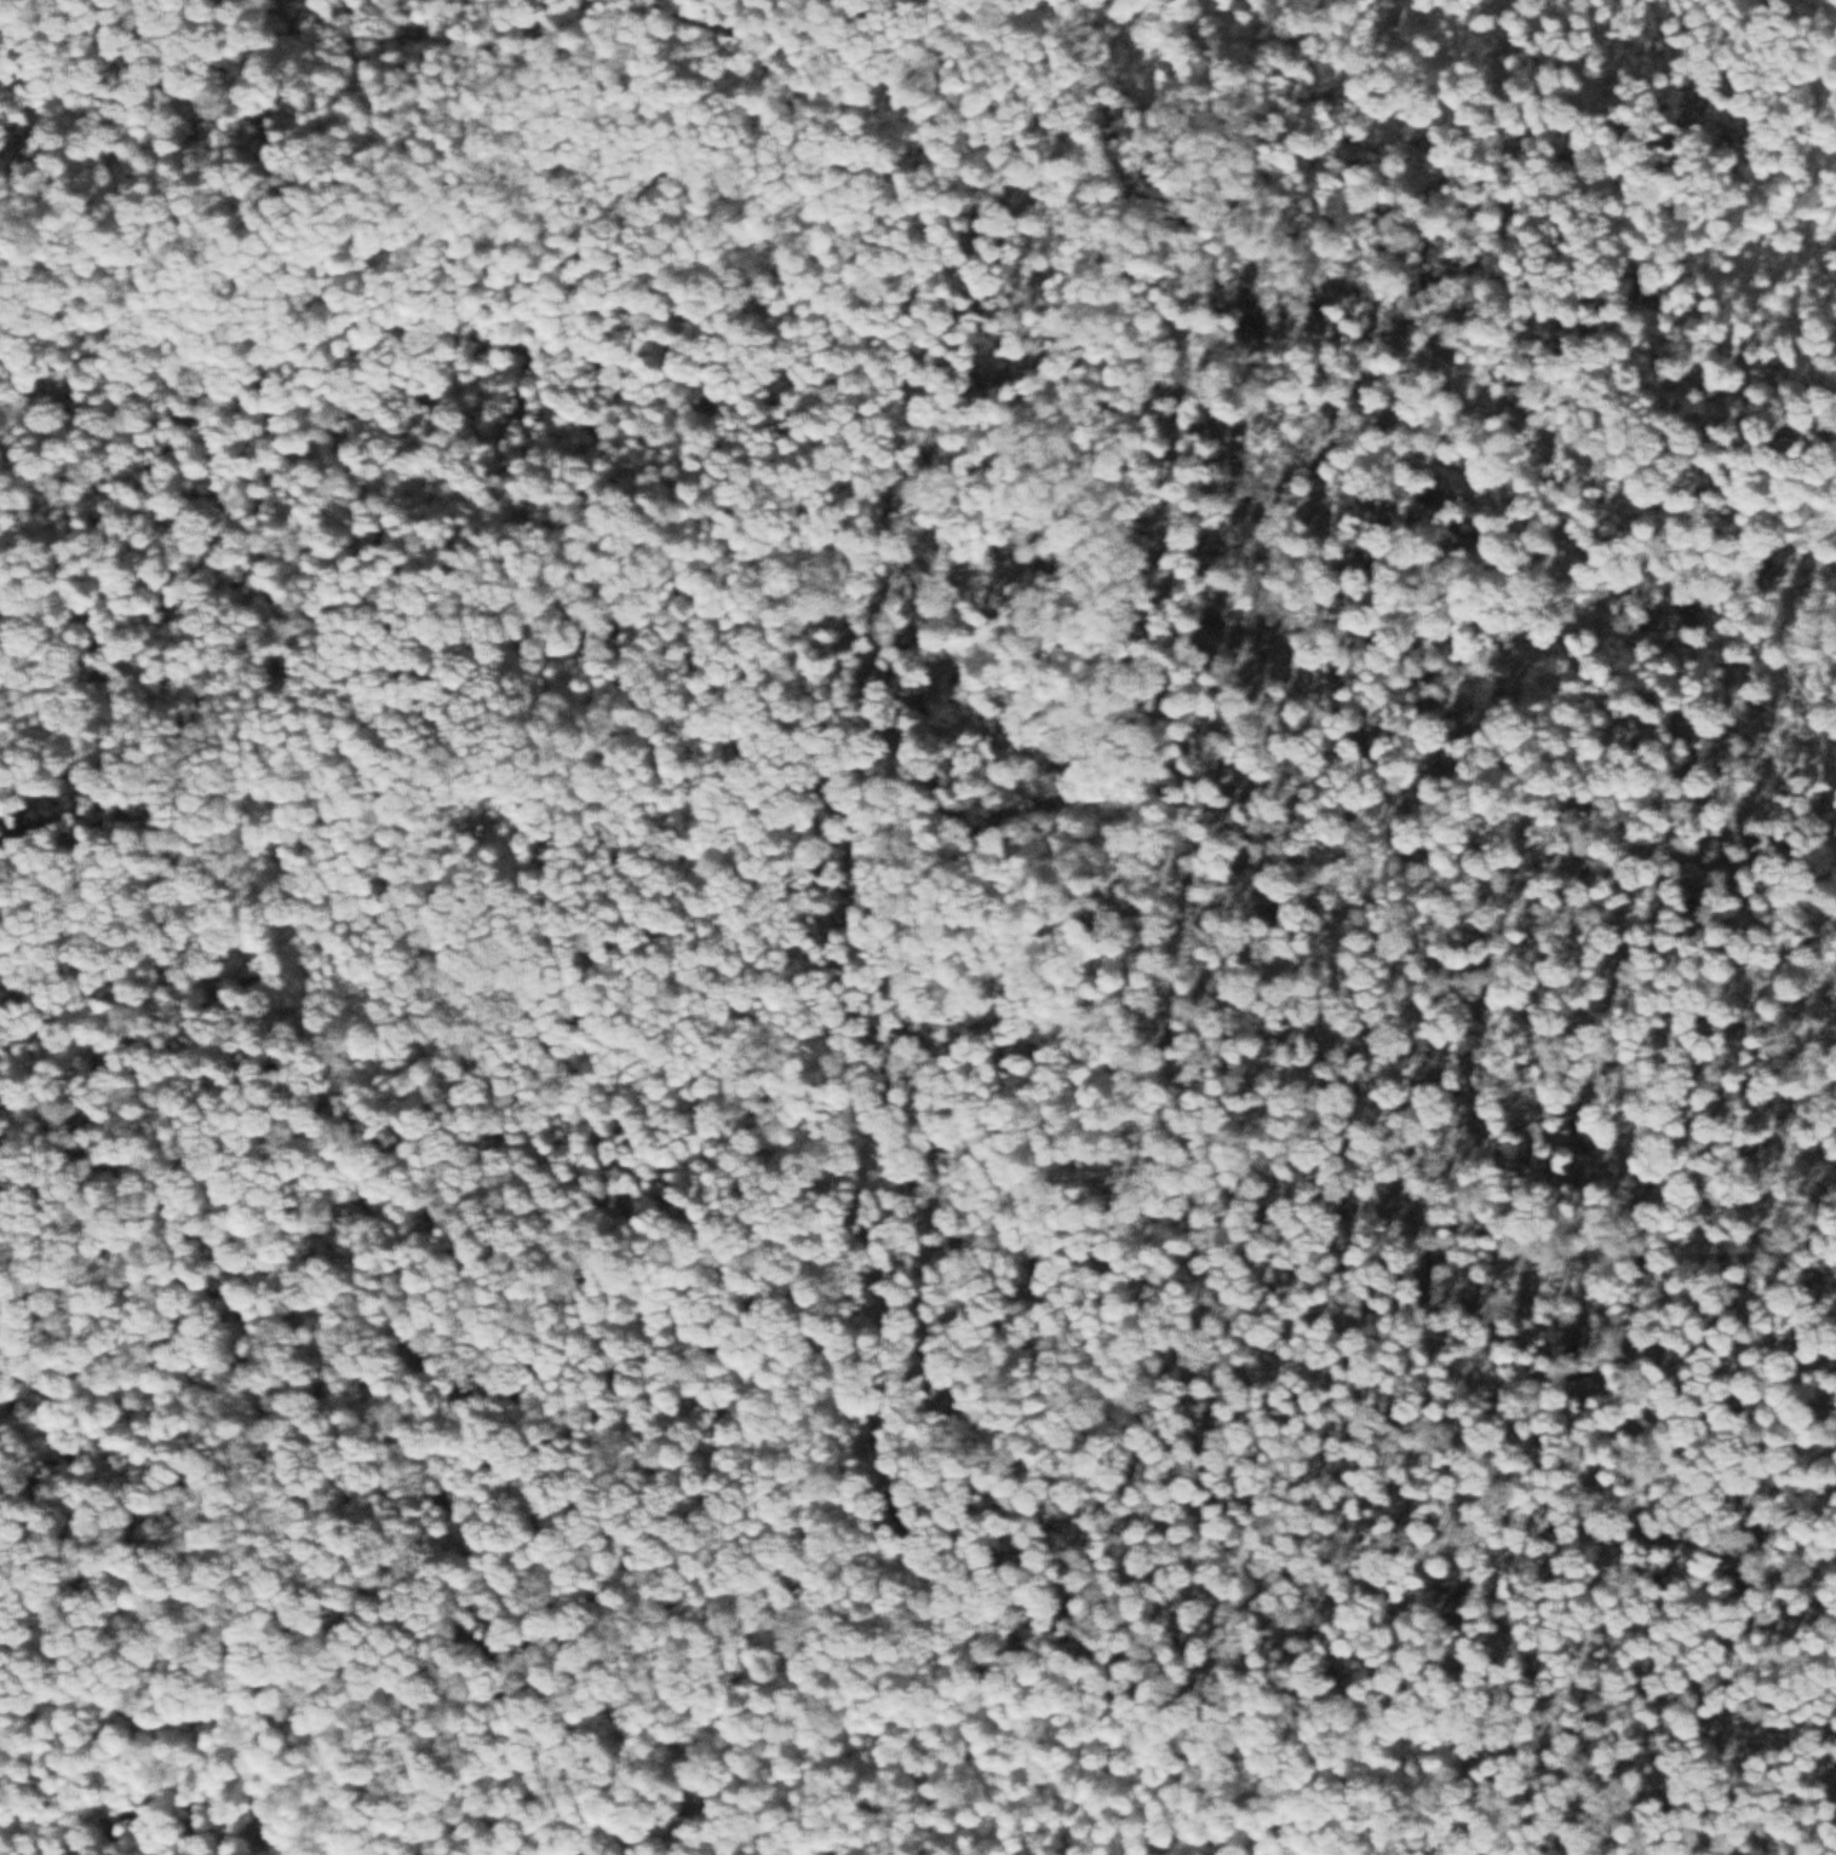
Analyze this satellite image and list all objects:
road: (833, 986)

